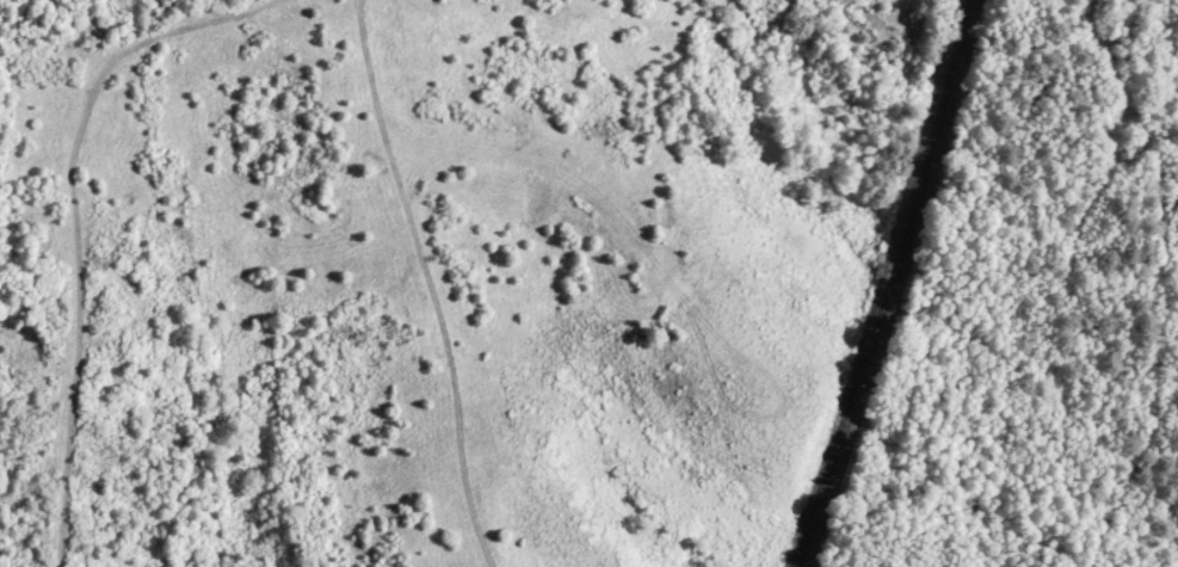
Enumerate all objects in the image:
railway: (890, 286)

